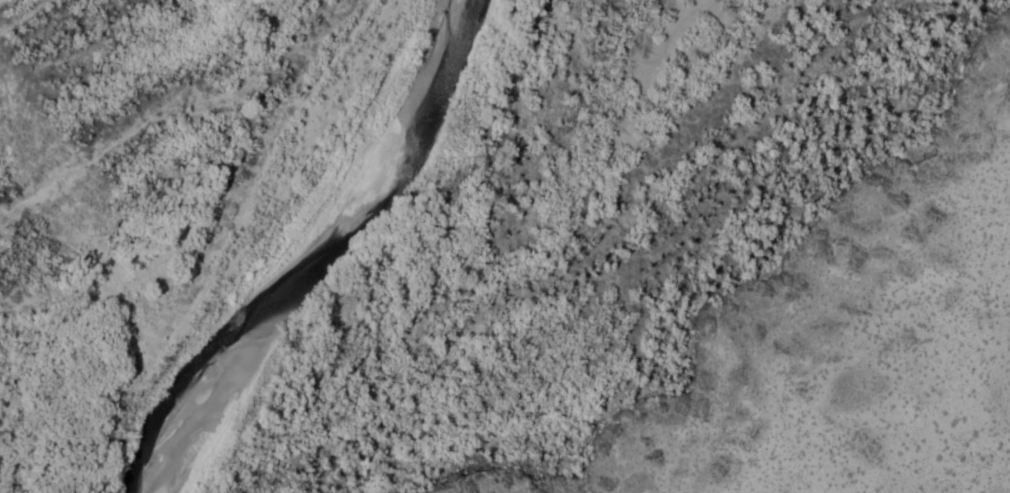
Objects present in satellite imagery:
river: (303, 248)

